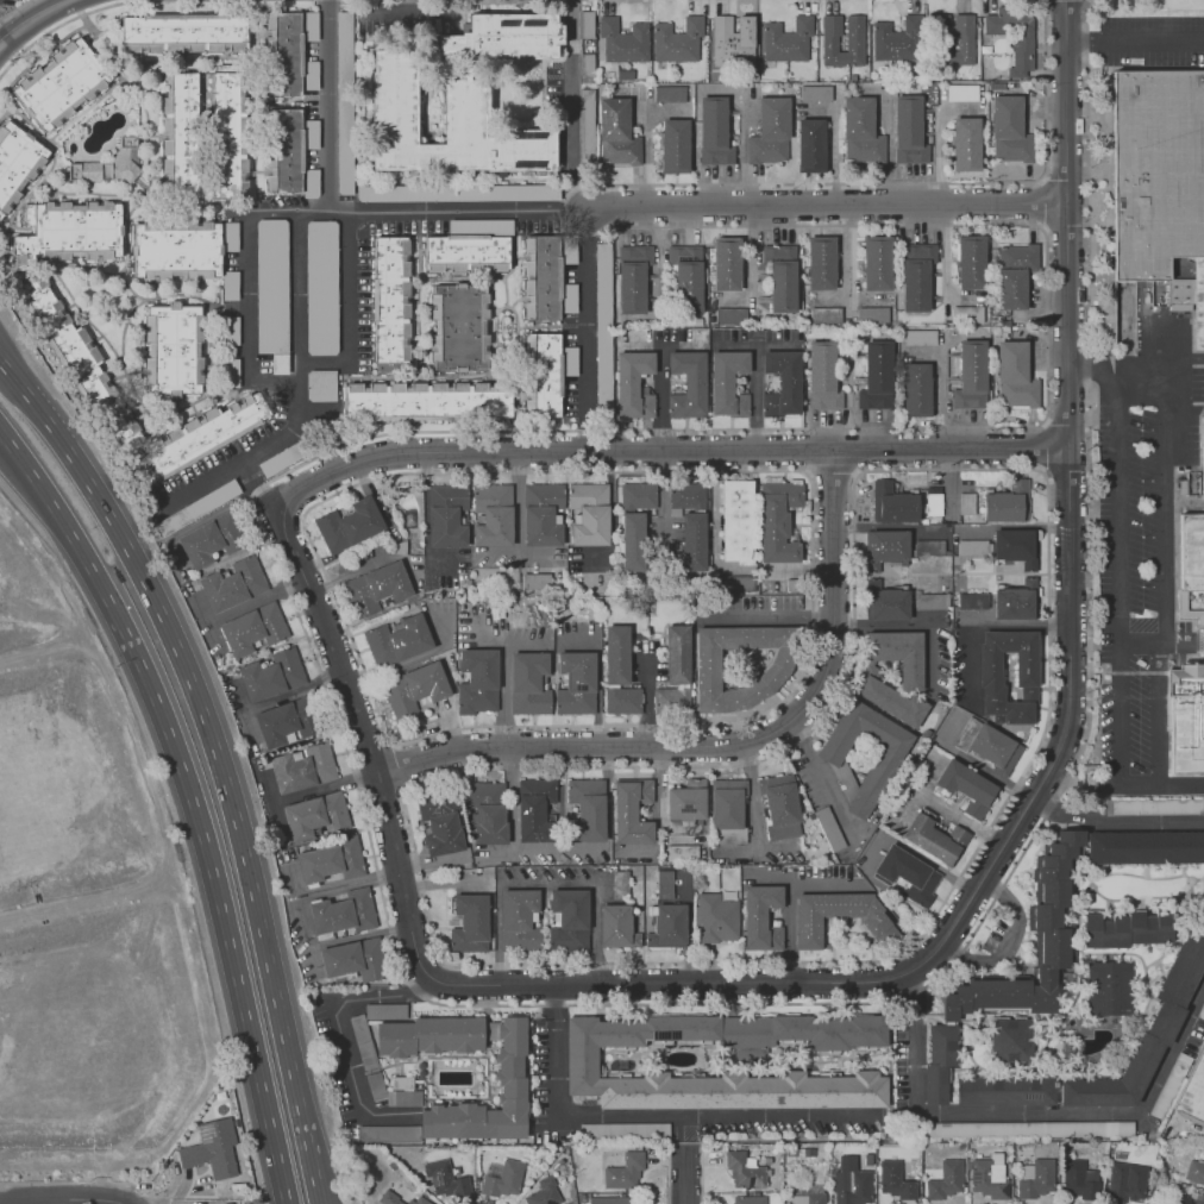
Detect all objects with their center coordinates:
road: (497, 1)
parking lot: (5, 4)
park: (7, 7)
road: (14, 8)
road: (29, 18)
road: (63, 23)
building: (584, 24)
road: (2, 30)
building: (186, 33)
building: (504, 37)
building: (622, 37)
building: (845, 38)
building: (1017, 38)
building: (677, 39)
building: (786, 39)
building: (895, 39)
building: (957, 39)
road: (1135, 39)
building: (732, 40)
building: (287, 55)
building: (585, 67)
building: (309, 75)
road: (571, 84)
building: (62, 86)
building: (961, 92)
building: (669, 93)
building: (815, 93)
building: (344, 102)
road: (327, 105)
building: (464, 108)
building: (585, 109)
building: (1010, 128)
building: (860, 131)
building: (717, 132)
building: (772, 132)
building: (911, 132)
building: (616, 133)
building: (203, 136)
building: (967, 140)
building: (814, 143)
building: (675, 145)
building: (286, 148)
building: (584, 152)
road: (888, 155)
building: (17, 161)
building: (124, 163)
building: (89, 170)
building: (1156, 170)
building: (309, 182)
building: (453, 192)
road: (827, 206)
road: (458, 209)
road: (272, 212)
road: (313, 212)
road: (564, 221)
building: (69, 230)
building: (228, 236)
building: (176, 249)
building: (468, 255)
building: (972, 261)
building: (824, 262)
building: (877, 263)
building: (728, 264)
building: (1016, 276)
building: (543, 277)
building: (686, 277)
building: (780, 277)
building: (913, 277)
building: (631, 278)
building: (230, 284)
building: (271, 286)
building: (320, 287)
road: (349, 287)
building: (1190, 296)
building: (393, 297)
road: (588, 308)
building: (730, 315)
building: (873, 315)
building: (970, 315)
building: (826, 316)
building: (462, 326)
building: (602, 327)
building: (231, 332)
building: (920, 337)
building: (177, 347)
road: (1, 357)
road: (1183, 359)
building: (280, 363)
road: (325, 364)
building: (81, 365)
road: (1097, 368)
building: (231, 370)
building: (545, 374)
building: (970, 374)
building: (877, 375)
building: (1014, 375)
building: (823, 376)
road: (275, 380)
building: (688, 381)
building: (634, 383)
building: (783, 383)
building: (320, 384)
building: (727, 384)
building: (917, 389)
road: (1140, 393)
road: (661, 395)
building: (427, 401)
building: (207, 434)
building: (1202, 440)
road: (1068, 443)
road: (665, 450)
road: (245, 457)
building: (284, 463)
road: (1164, 490)
building: (1009, 502)
building: (966, 503)
building: (896, 504)
road: (519, 506)
building: (933, 506)
building: (196, 507)
building: (447, 514)
building: (541, 514)
building: (590, 514)
building: (494, 515)
building: (778, 518)
building: (738, 522)
building: (350, 523)
building: (635, 523)
building: (691, 523)
building: (217, 537)
building: (1014, 544)
building: (892, 546)
building: (932, 547)
building: (971, 547)
road: (518, 559)
building: (1190, 567)
building: (537, 582)
building: (231, 583)
building: (382, 583)
building: (733, 583)
building: (928, 601)
building: (972, 601)
building: (1016, 601)
building: (889, 607)
road: (769, 616)
road: (982, 622)
road: (911, 626)
building: (252, 628)
road: (1120, 629)
building: (399, 639)
road: (1161, 645)
road: (142, 646)
building: (678, 652)
building: (619, 653)
building: (899, 656)
building: (742, 666)
building: (1029, 667)
building: (270, 673)
building: (481, 679)
building: (578, 682)
building: (529, 686)
building: (419, 689)
building: (666, 700)
building: (623, 701)
building: (893, 701)
road: (1156, 713)
building: (287, 721)
building: (1186, 721)
road: (368, 740)
building: (987, 742)
road: (729, 748)
road: (218, 755)
building: (864, 755)
building: (301, 767)
road: (325, 786)
building: (964, 786)
building: (686, 802)
building: (779, 805)
building: (1153, 805)
building: (538, 808)
building: (490, 809)
building: (590, 810)
building: (638, 810)
building: (729, 810)
building: (316, 814)
road: (1114, 817)
building: (444, 824)
building: (832, 832)
building: (938, 840)
building: (1143, 845)
building: (682, 852)
building: (330, 860)
building: (907, 871)
building: (619, 884)
building: (663, 884)
building: (343, 913)
building: (760, 913)
building: (835, 916)
building: (715, 917)
building: (519, 918)
building: (569, 918)
building: (1046, 918)
building: (469, 923)
building: (615, 923)
building: (671, 924)
building: (1164, 928)
building: (1116, 932)
road: (1008, 941)
building: (356, 958)
road: (742, 984)
building: (1108, 987)
road: (520, 1005)
building: (1203, 1005)
building: (385, 1010)
building: (1203, 1016)
road: (338, 1029)
building: (1146, 1033)
building: (429, 1036)
building: (363, 1042)
building: (1011, 1042)
road: (252, 1048)
building: (583, 1059)
building: (939, 1064)
building: (514, 1080)
building: (402, 1083)
building: (376, 1087)
building: (1184, 1089)
building: (1004, 1090)
building: (403, 1098)
road: (1026, 1114)
road: (660, 1117)
road: (686, 1123)
building: (622, 1131)
building: (1024, 1131)
building: (388, 1134)
building: (211, 1148)
road: (688, 1167)
building: (626, 1169)
building: (744, 1171)
building: (1194, 1173)
building: (445, 1178)
building: (504, 1180)
building: (896, 1180)
building: (990, 1180)
building: (1078, 1180)
building: (1125, 1180)
building: (946, 1181)
building: (1040, 1181)
building: (854, 1187)
building: (544, 1196)
building: (809, 1197)
road: (59, 1198)
building: (751, 1199)
road: (319, 1200)
road: (321, 1200)
building: (394, 1202)
building: (422, 1202)
building: (615, 1202)
building: (1192, 1202)

